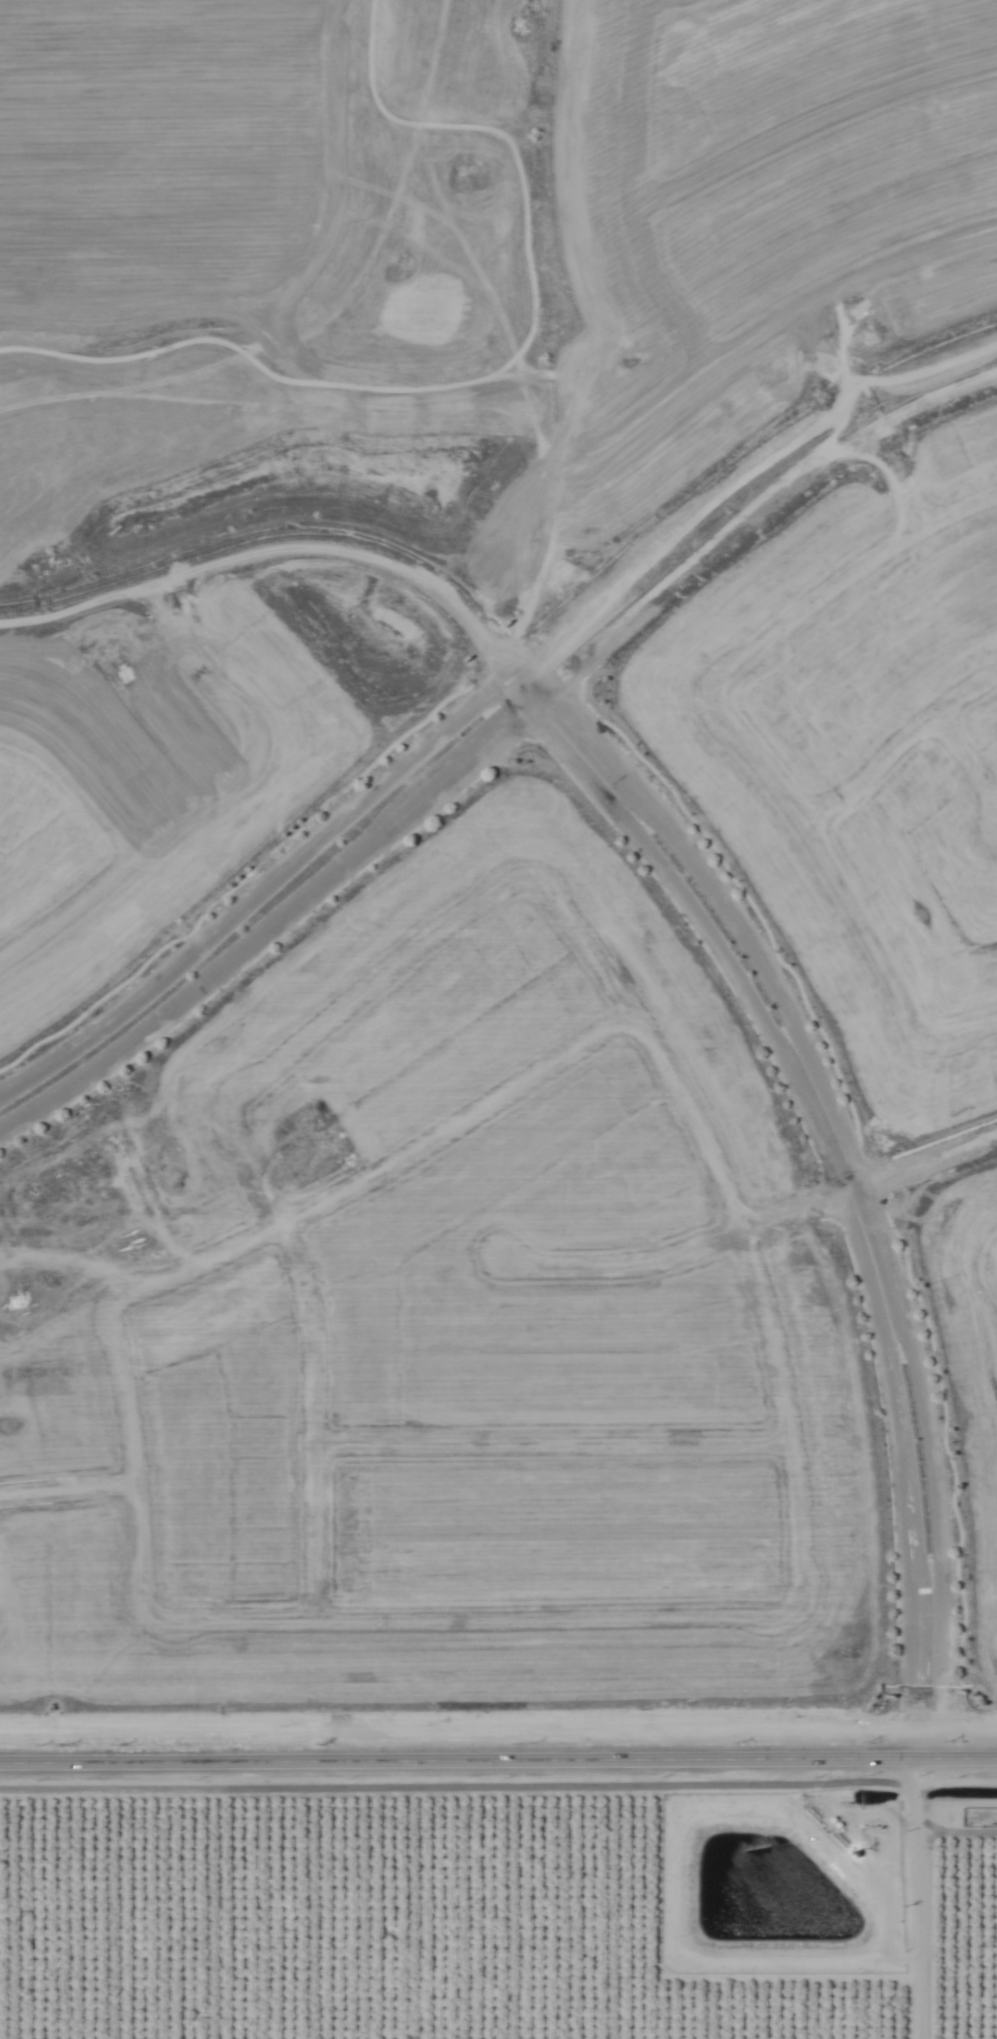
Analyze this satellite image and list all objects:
road: (498, 1762)
road: (917, 1899)

